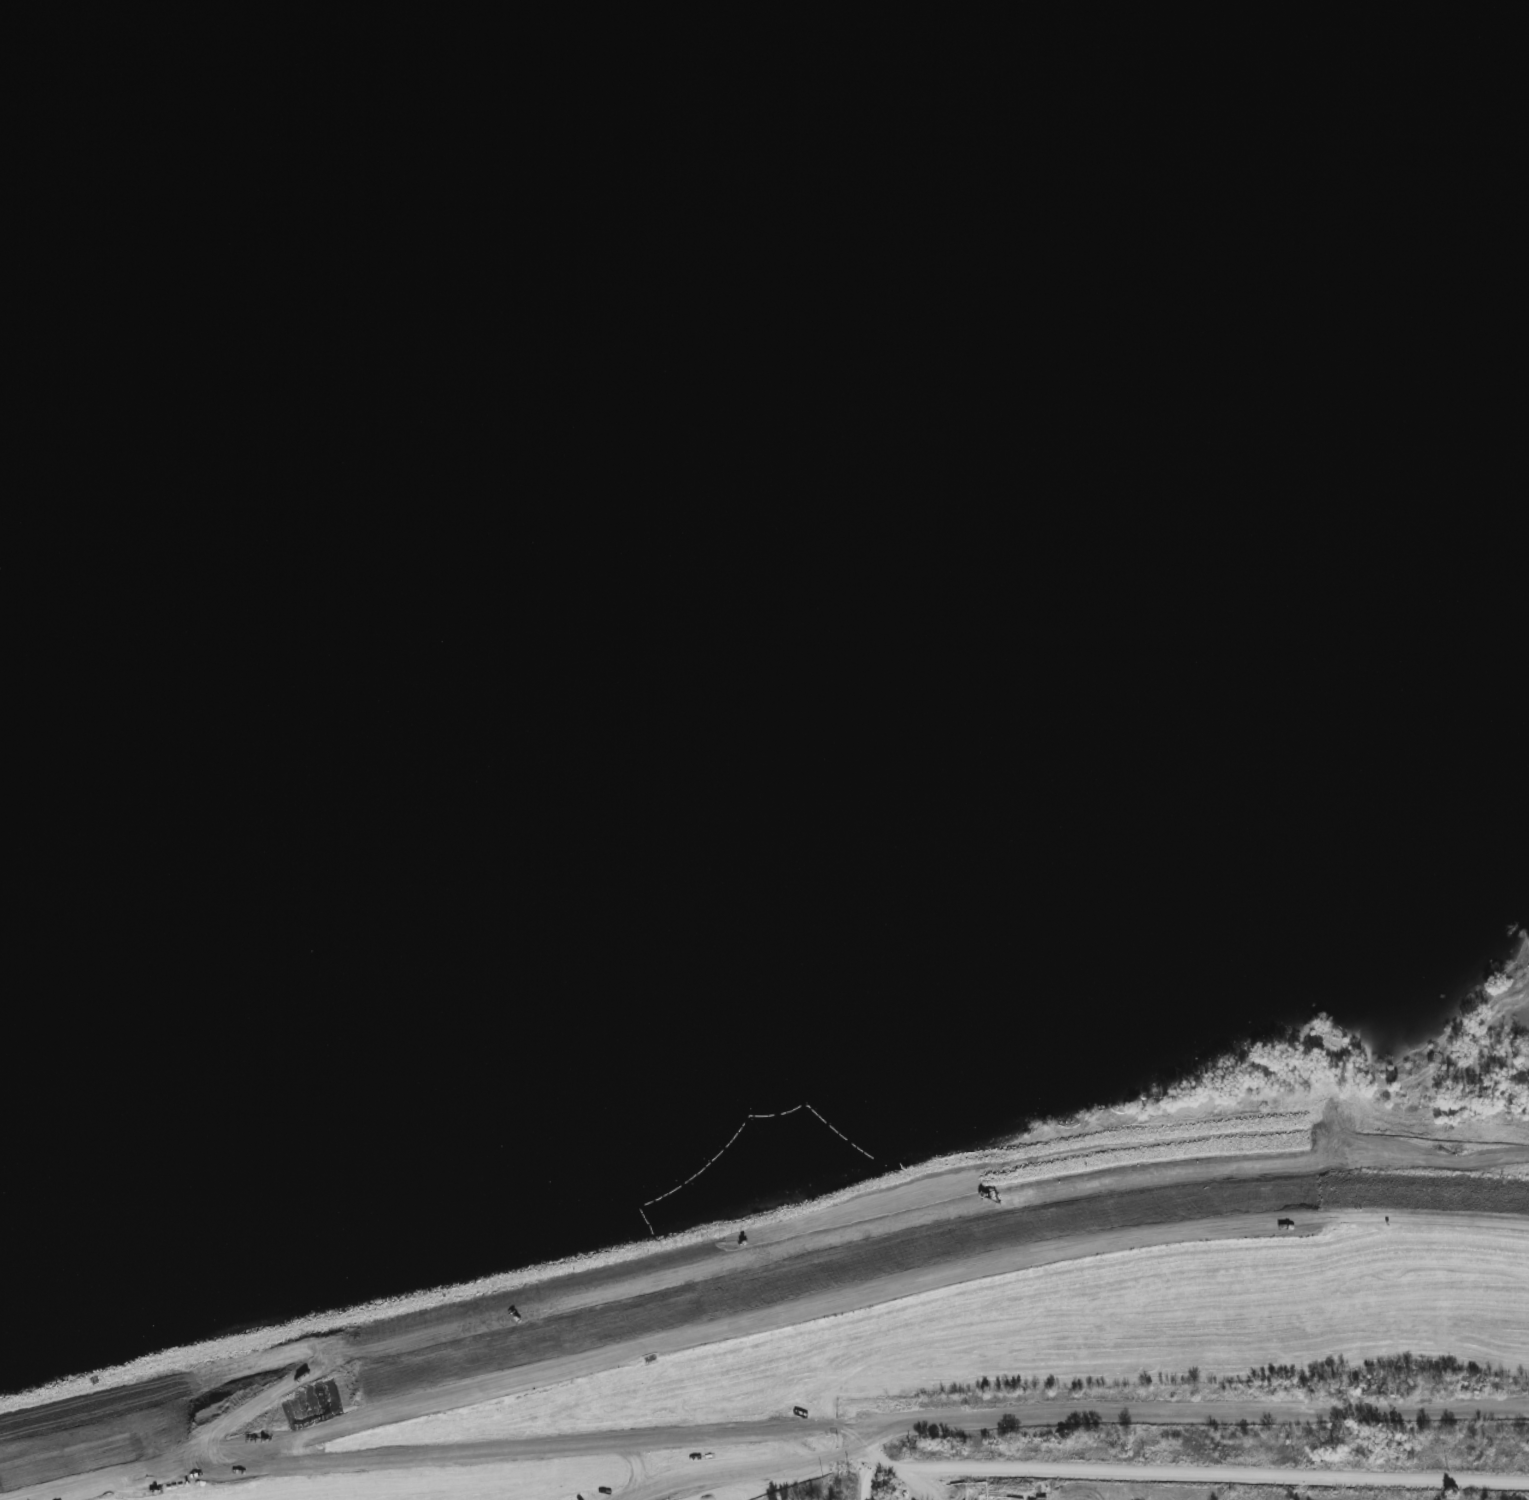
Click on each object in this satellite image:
road: (763, 1313)
dam: (806, 1330)
road: (834, 1427)
road: (868, 1462)
road: (740, 1466)

